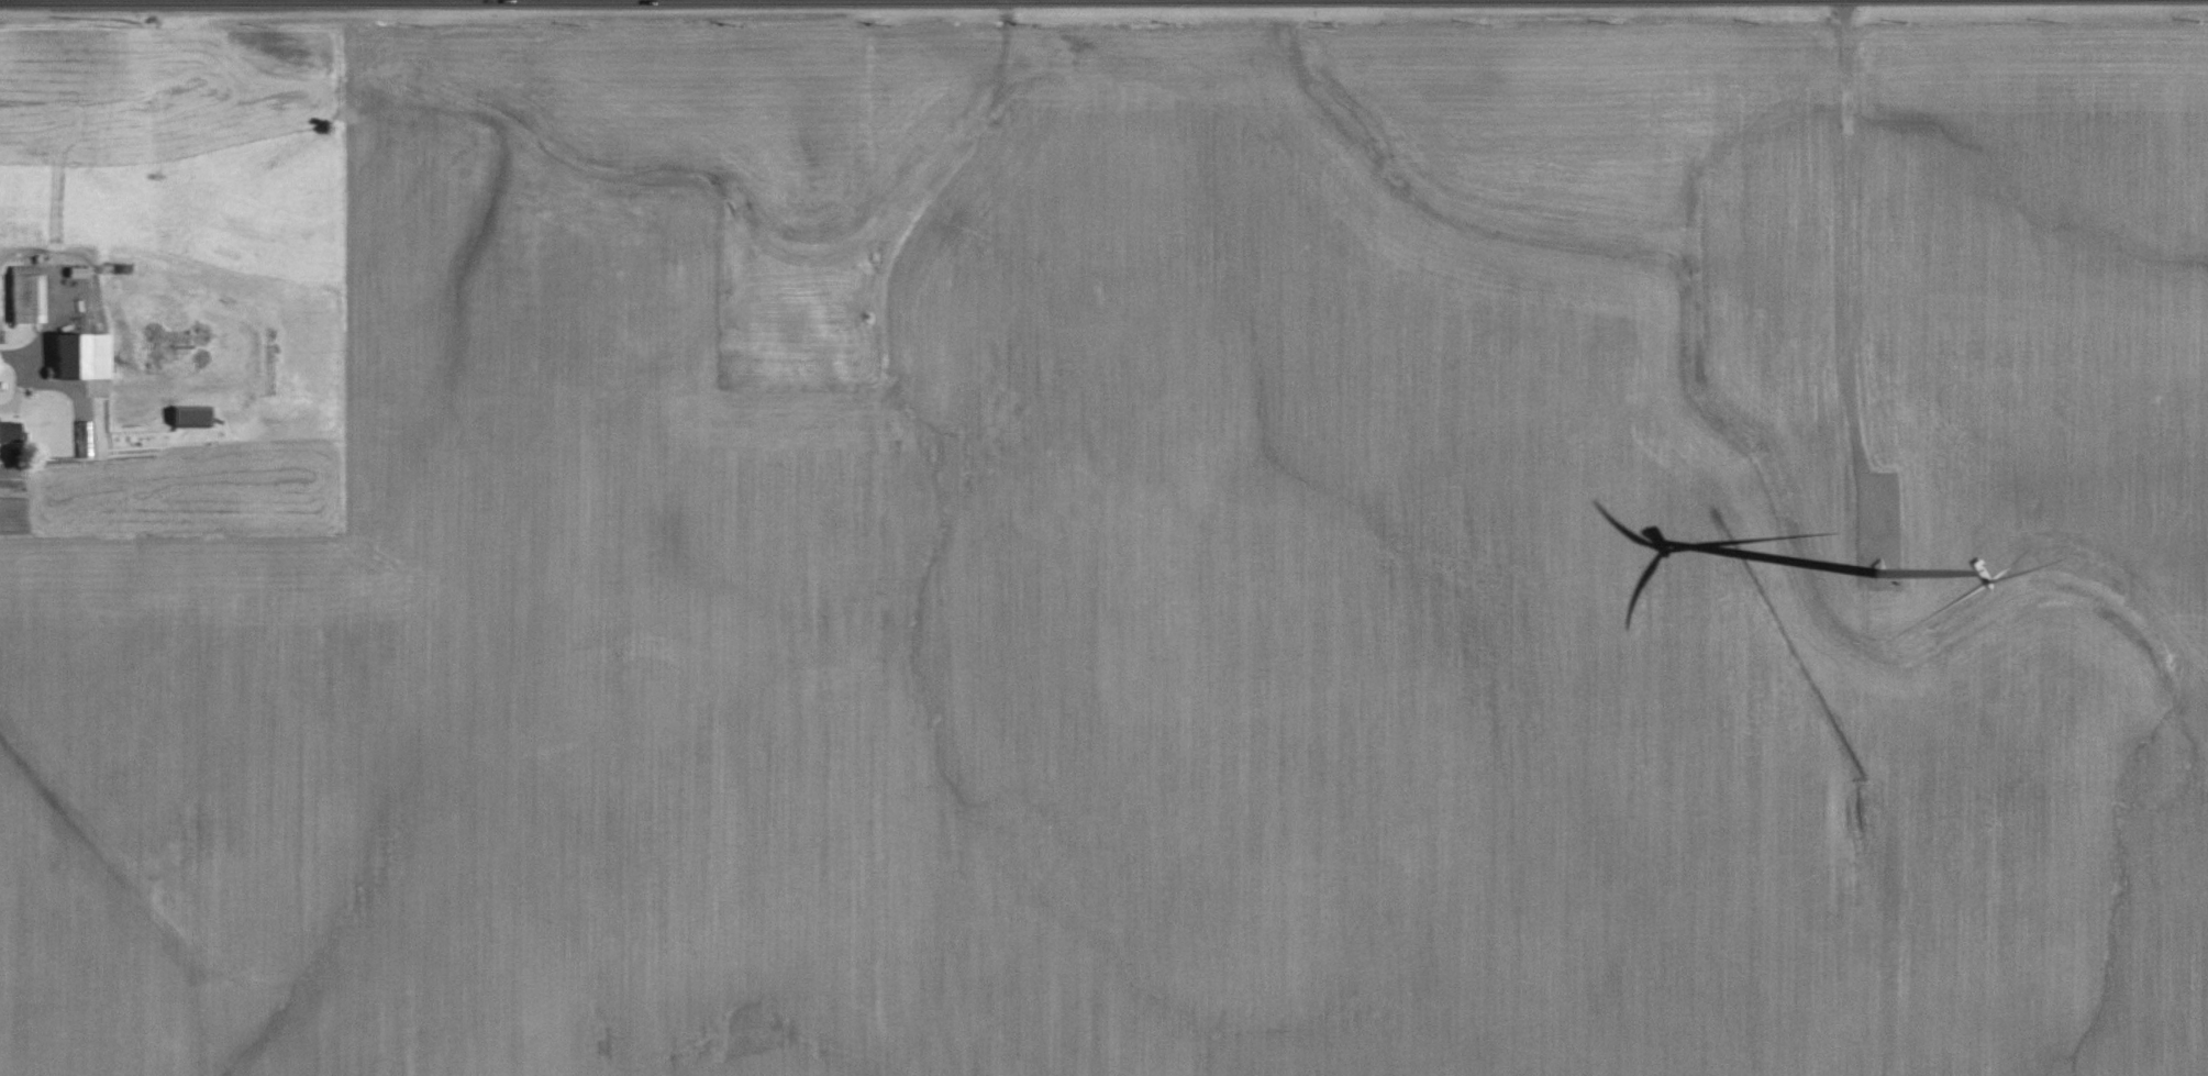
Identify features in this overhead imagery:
building: (22, 293)
road: (33, 333)
building: (157, 333)
building: (196, 333)
building: (77, 355)
building: (196, 356)
building: (148, 359)
road: (11, 380)
building: (188, 415)
building: (8, 430)
wind turbine: (1876, 569)

